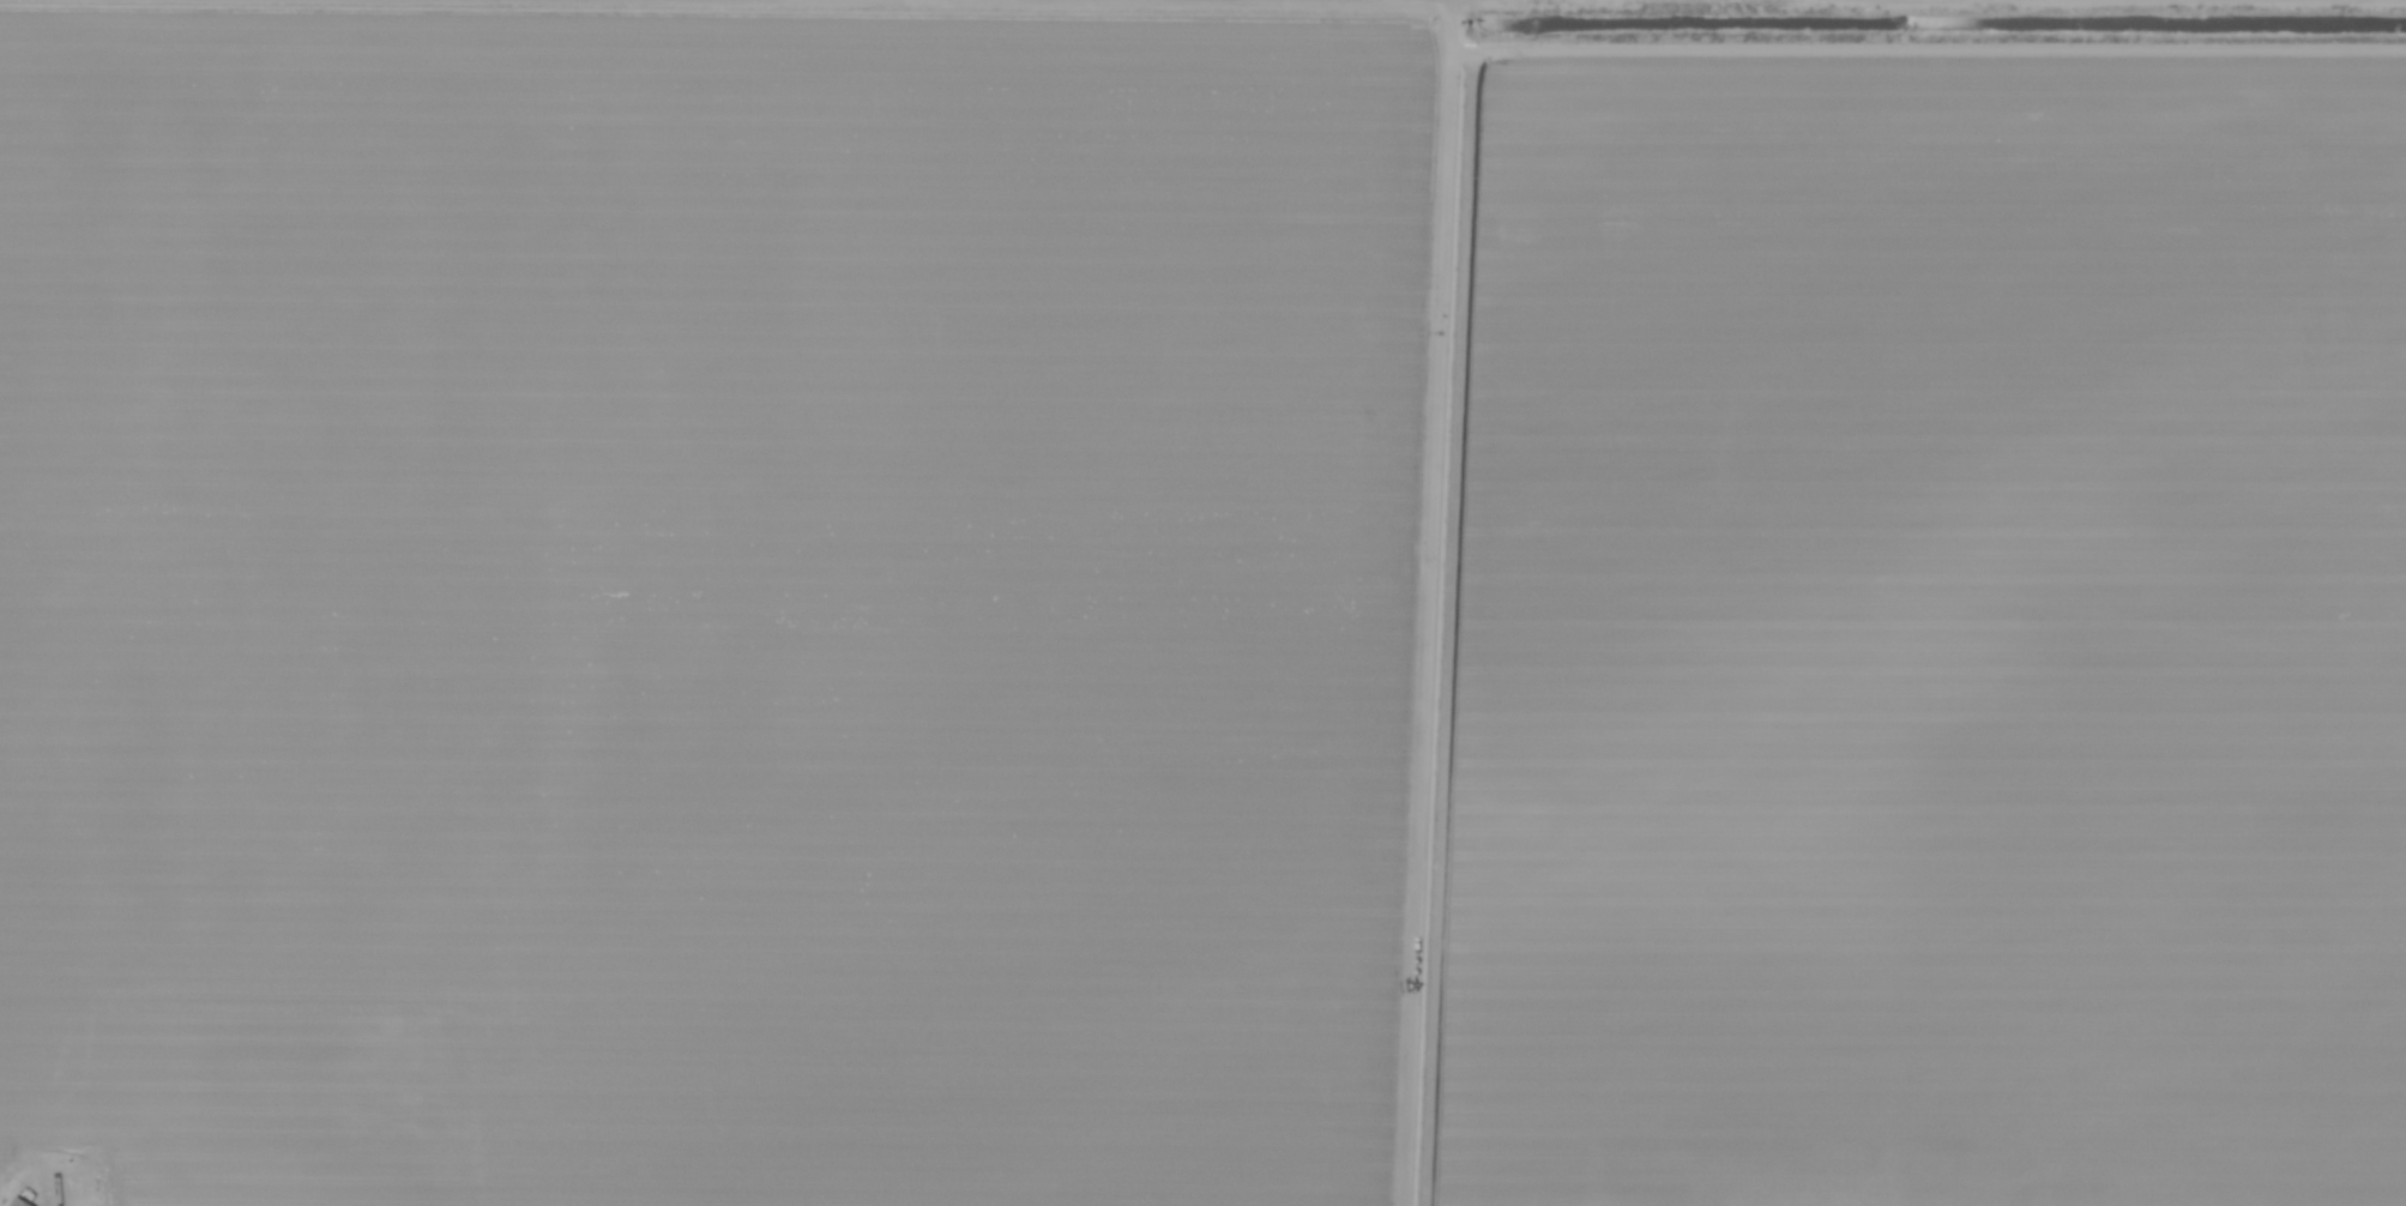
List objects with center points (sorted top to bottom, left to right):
crop: (752, 561)
crop: (4, 1151)

